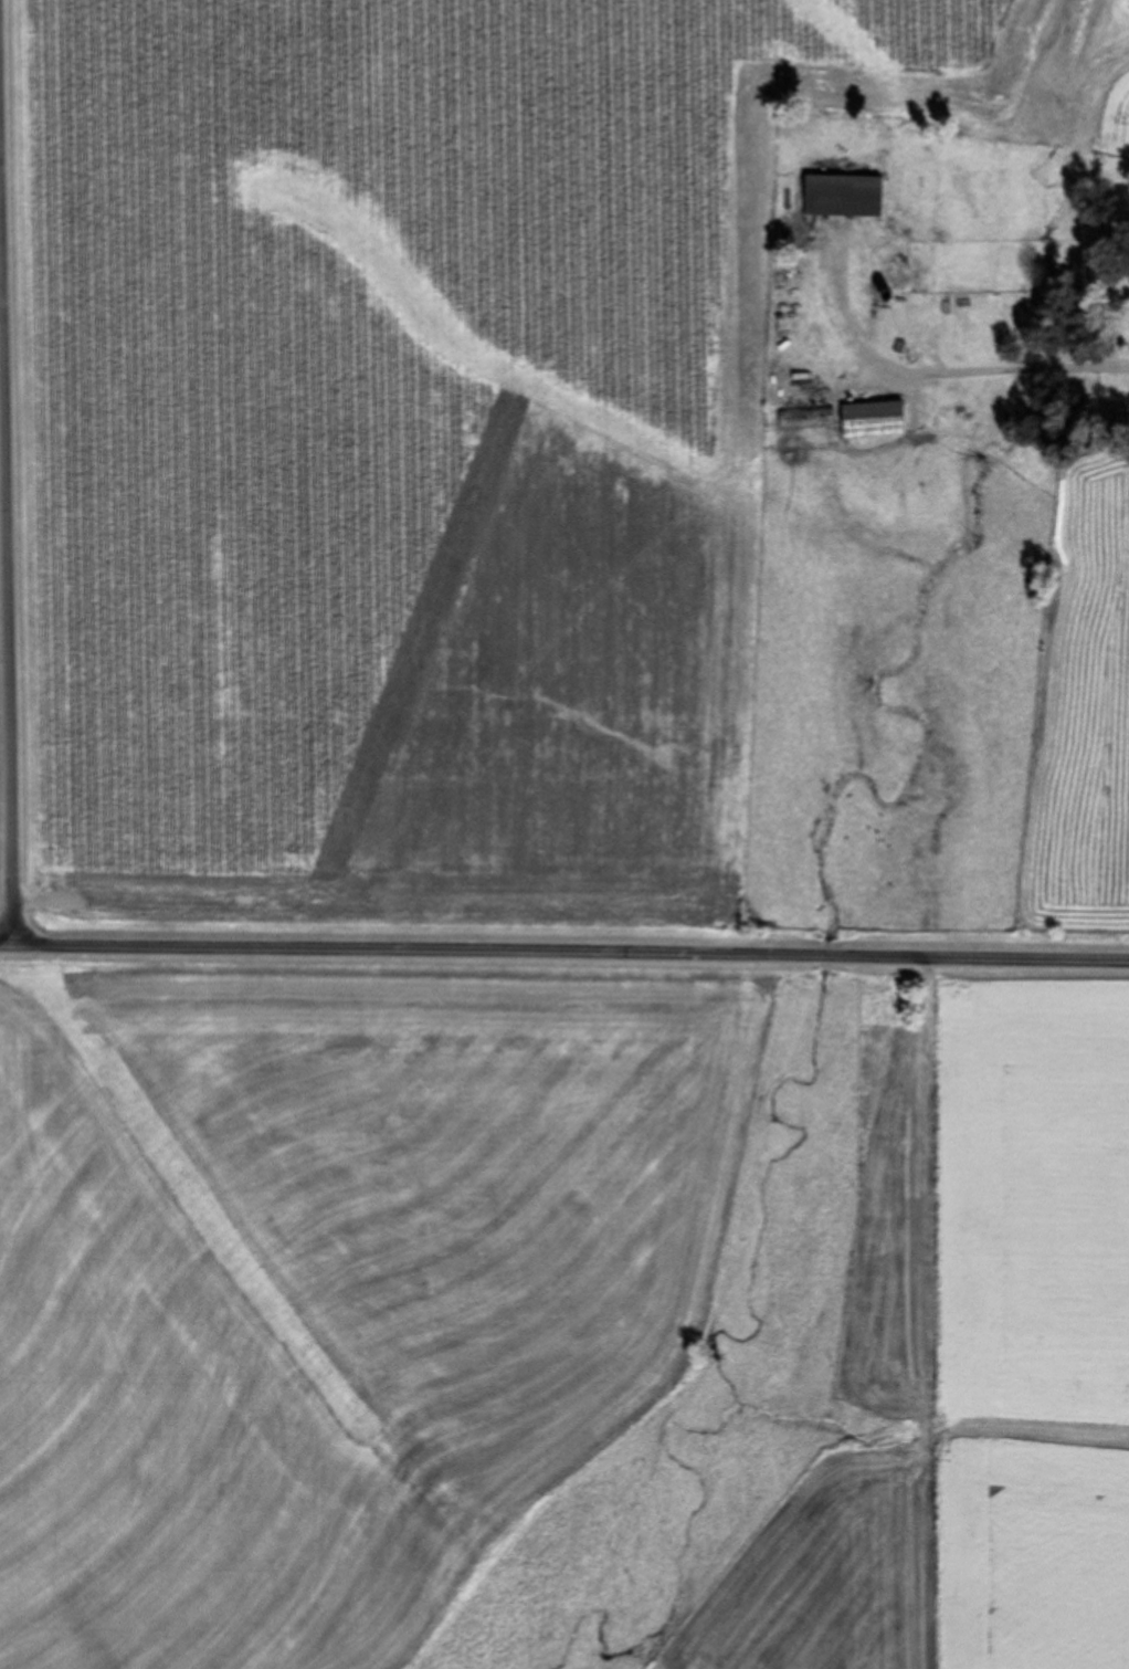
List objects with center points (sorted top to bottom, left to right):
building: (842, 198)
building: (927, 399)
building: (803, 419)
building: (871, 420)
road: (18, 475)
road: (563, 956)

